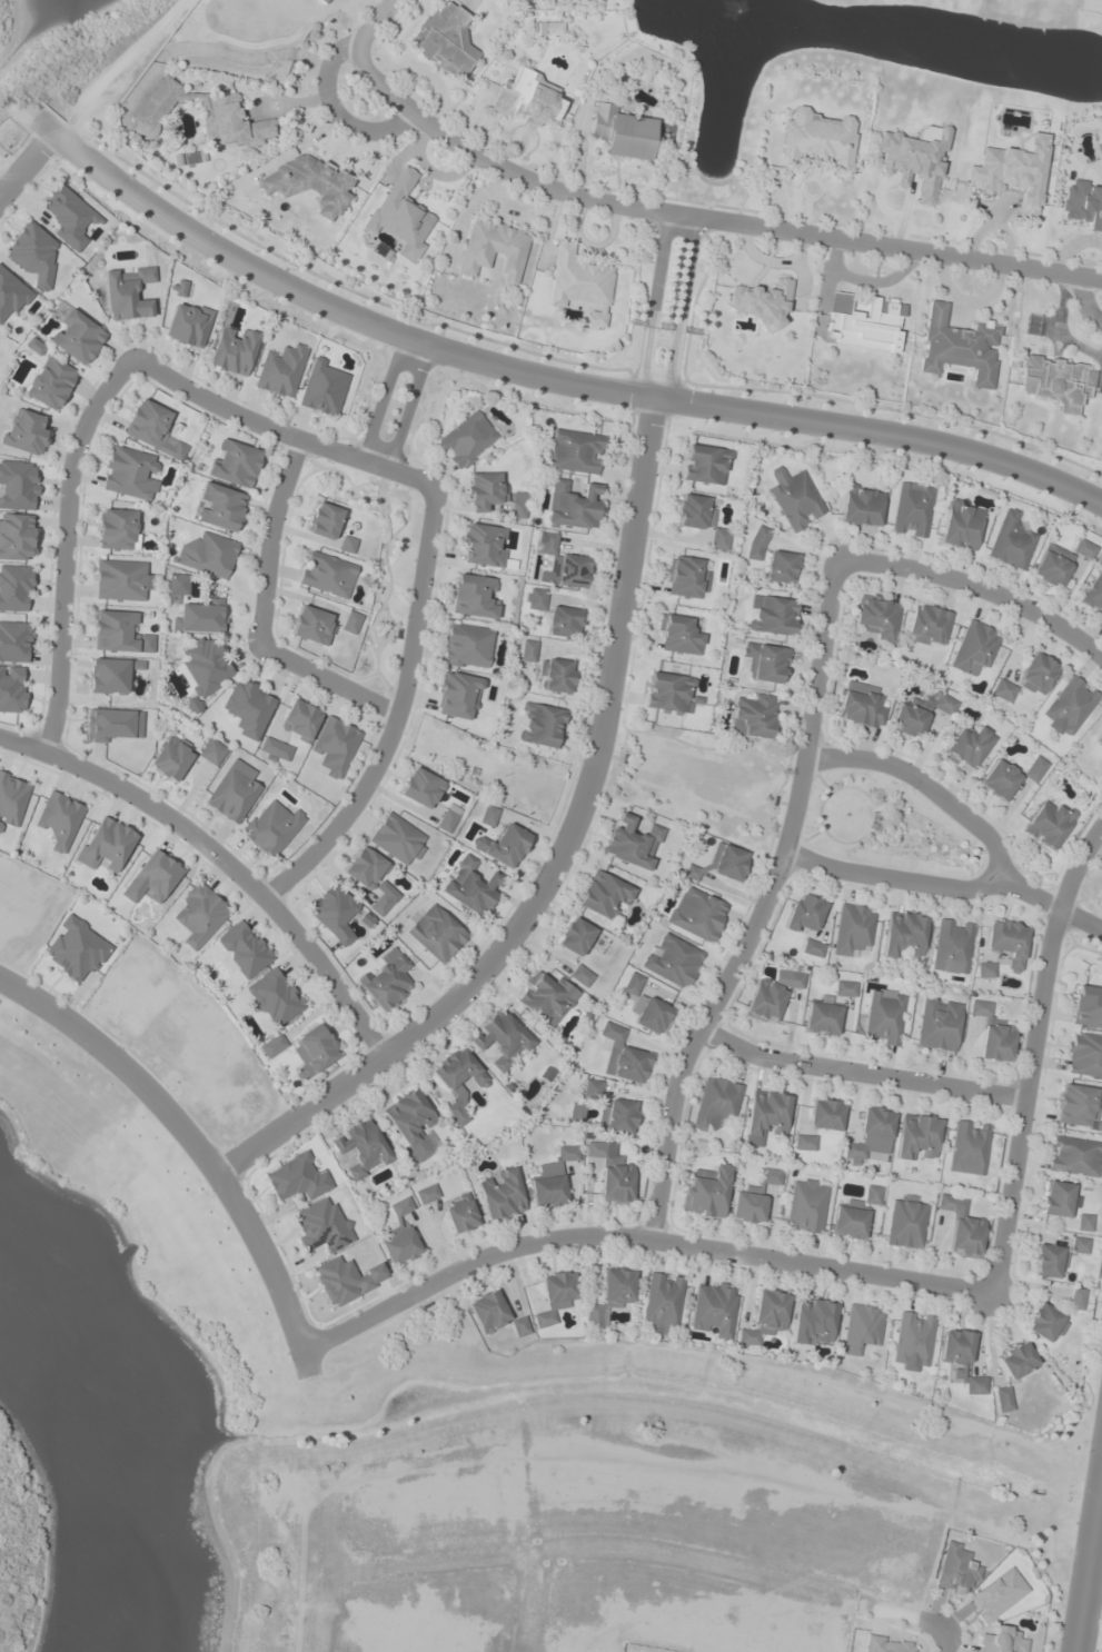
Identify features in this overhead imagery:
road: (371, 21)
building: (445, 40)
building: (527, 99)
building: (220, 110)
road: (335, 113)
building: (621, 132)
building: (815, 138)
building: (914, 159)
road: (27, 162)
building: (1012, 172)
building: (308, 183)
building: (1083, 205)
building: (400, 215)
building: (70, 218)
road: (703, 218)
building: (494, 249)
building: (34, 256)
building: (582, 286)
building: (180, 288)
building: (127, 292)
building: (12, 295)
building: (761, 302)
road: (1085, 305)
building: (864, 324)
building: (188, 325)
building: (76, 337)
building: (33, 346)
building: (957, 347)
building: (232, 350)
building: (280, 369)
road: (542, 372)
building: (1054, 381)
building: (50, 382)
building: (322, 389)
road: (654, 396)
road: (383, 398)
road: (409, 406)
building: (152, 428)
road: (279, 432)
building: (26, 434)
building: (467, 439)
building: (575, 451)
building: (234, 464)
building: (704, 465)
building: (129, 474)
building: (18, 485)
building: (484, 490)
building: (793, 498)
building: (517, 505)
building: (572, 505)
building: (861, 506)
building: (219, 507)
building: (911, 510)
building: (699, 519)
building: (325, 521)
building: (959, 525)
building: (118, 529)
building: (17, 537)
road: (268, 540)
building: (1010, 541)
building: (756, 543)
building: (347, 545)
road: (64, 546)
building: (484, 546)
building: (1083, 548)
building: (207, 555)
building: (564, 564)
building: (1051, 565)
building: (780, 567)
building: (327, 575)
building: (686, 577)
building: (121, 580)
building: (177, 585)
road: (977, 587)
building: (16, 588)
building: (1094, 591)
building: (473, 596)
building: (535, 599)
building: (771, 615)
building: (200, 617)
building: (876, 617)
building: (563, 621)
building: (350, 623)
building: (312, 625)
building: (926, 625)
building: (115, 631)
building: (677, 634)
building: (14, 641)
building: (466, 646)
building: (973, 647)
building: (527, 650)
building: (764, 663)
building: (205, 668)
building: (112, 674)
building: (1035, 674)
building: (555, 675)
road: (327, 681)
building: (12, 688)
building: (1002, 690)
building: (668, 693)
building: (457, 696)
building: (1069, 705)
building: (248, 708)
building: (861, 708)
road: (397, 713)
building: (916, 714)
building: (752, 716)
building: (299, 720)
building: (113, 725)
building: (540, 725)
building: (1099, 738)
building: (334, 746)
building: (966, 747)
building: (275, 750)
building: (211, 752)
building: (1100, 755)
building: (171, 758)
building: (1033, 768)
building: (997, 779)
building: (420, 787)
building: (234, 792)
building: (12, 799)
building: (488, 815)
building: (447, 817)
building: (59, 819)
building: (1046, 824)
building: (271, 828)
building: (397, 838)
building: (632, 843)
building: (106, 844)
building: (503, 846)
road: (558, 856)
road: (222, 857)
road: (995, 860)
building: (726, 862)
building: (365, 868)
building: (691, 873)
building: (152, 878)
building: (470, 886)
building: (603, 895)
building: (383, 898)
road: (1049, 902)
road: (761, 906)
building: (332, 912)
building: (696, 914)
building: (804, 914)
building: (199, 915)
building: (852, 929)
building: (436, 933)
building: (902, 935)
building: (575, 936)
building: (1006, 942)
building: (950, 946)
building: (812, 948)
building: (76, 949)
building: (244, 949)
building: (672, 961)
building: (983, 969)
building: (580, 975)
building: (386, 981)
building: (633, 984)
building: (844, 988)
building: (771, 995)
building: (274, 996)
building: (546, 998)
building: (1086, 1006)
building: (979, 1007)
building: (651, 1014)
building: (821, 1017)
building: (883, 1017)
building: (937, 1024)
building: (502, 1039)
building: (995, 1042)
building: (272, 1046)
building: (316, 1049)
road: (1032, 1053)
building: (1083, 1055)
building: (623, 1056)
road: (860, 1071)
building: (458, 1081)
building: (592, 1088)
building: (717, 1104)
building: (576, 1113)
building: (766, 1113)
building: (617, 1115)
building: (825, 1115)
building: (413, 1124)
building: (871, 1134)
building: (916, 1136)
building: (804, 1142)
road: (196, 1146)
building: (969, 1147)
building: (361, 1148)
building: (1074, 1156)
building: (613, 1174)
building: (297, 1178)
building: (553, 1178)
building: (707, 1192)
building: (427, 1194)
building: (872, 1194)
building: (503, 1195)
building: (754, 1197)
building: (1060, 1198)
building: (806, 1205)
building: (401, 1206)
building: (460, 1213)
building: (850, 1220)
building: (1084, 1222)
building: (906, 1223)
building: (322, 1226)
building: (962, 1226)
road: (634, 1238)
building: (1080, 1244)
building: (400, 1245)
building: (1049, 1261)
building: (347, 1280)
building: (556, 1295)
building: (612, 1295)
building: (1078, 1298)
building: (663, 1300)
building: (713, 1310)
building: (495, 1314)
building: (766, 1317)
building: (814, 1322)
building: (1046, 1323)
building: (862, 1328)
building: (913, 1338)
building: (961, 1359)
building: (1016, 1360)
building: (1003, 1399)
road: (1089, 1564)
building: (957, 1569)
building: (997, 1594)
road: (933, 1625)
building: (1002, 1641)
road: (944, 1643)
building: (886, 1644)

